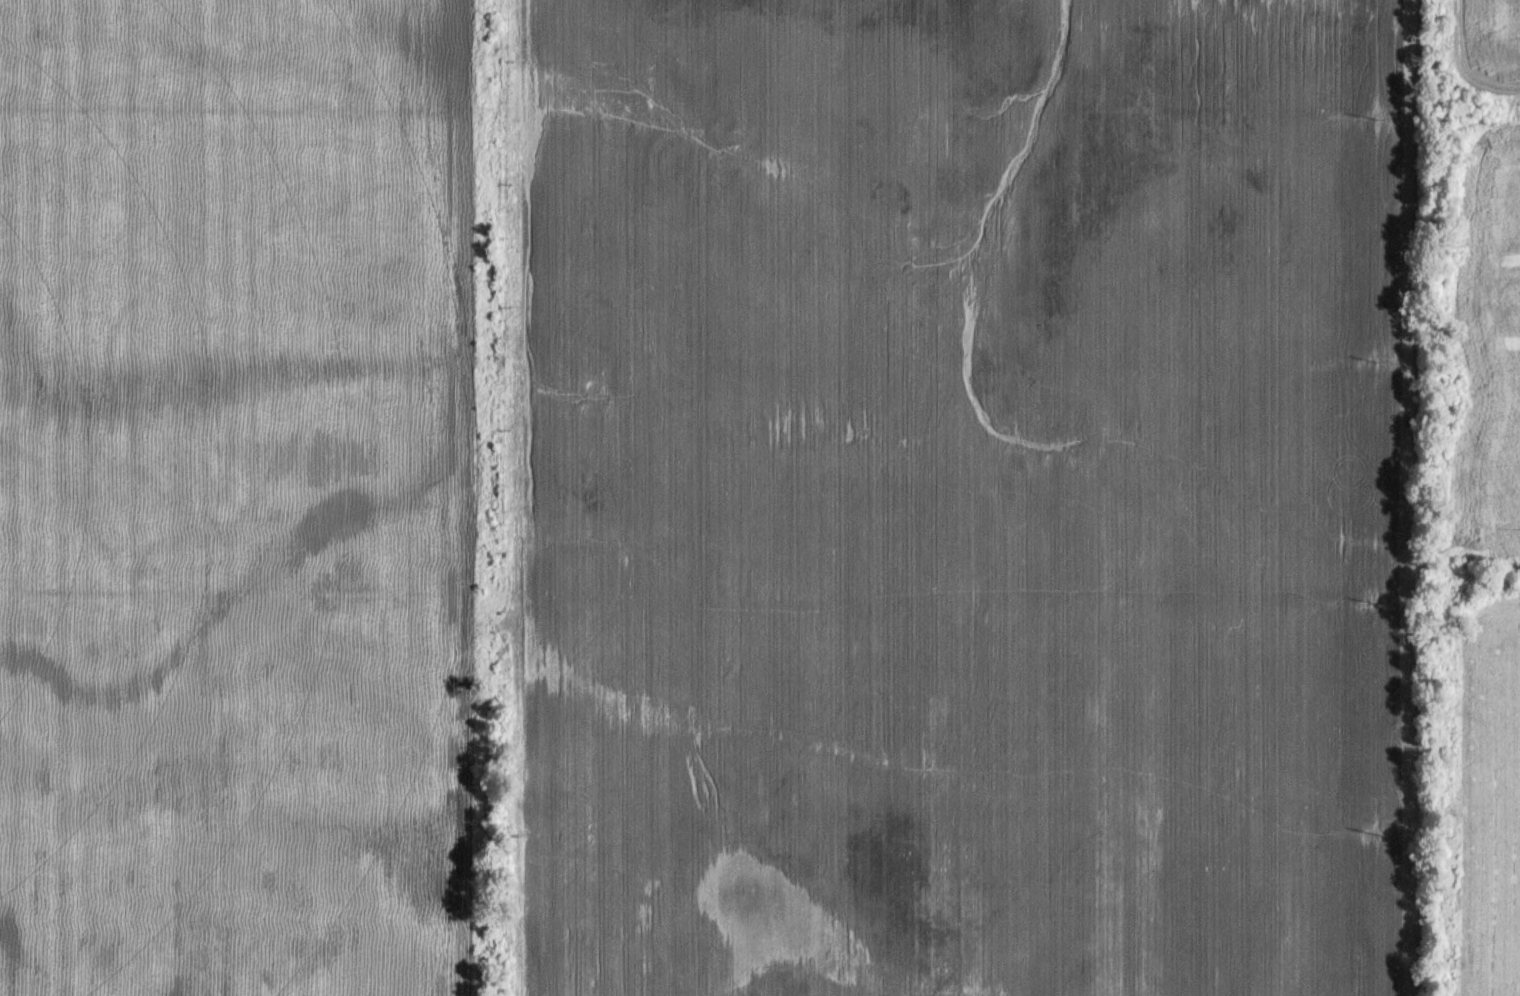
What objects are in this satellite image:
road: (1416, 498)

